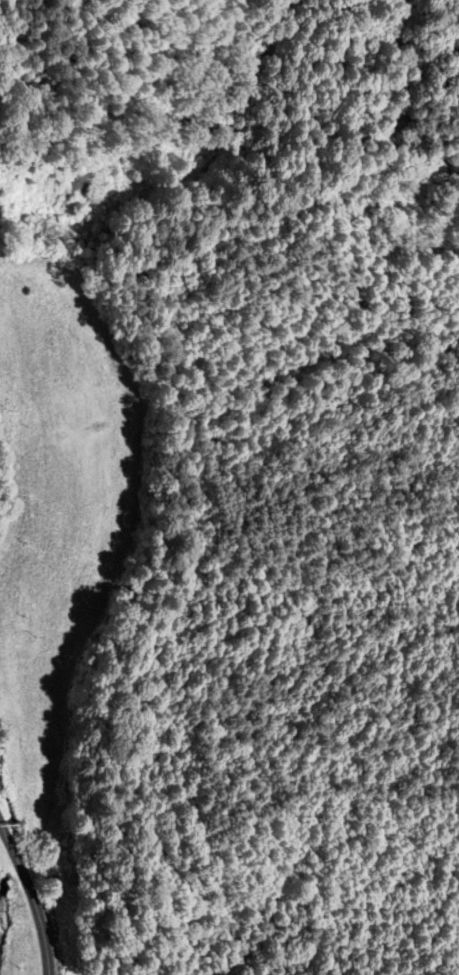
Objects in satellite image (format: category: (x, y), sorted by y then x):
building: (128, 180)
road: (33, 896)

